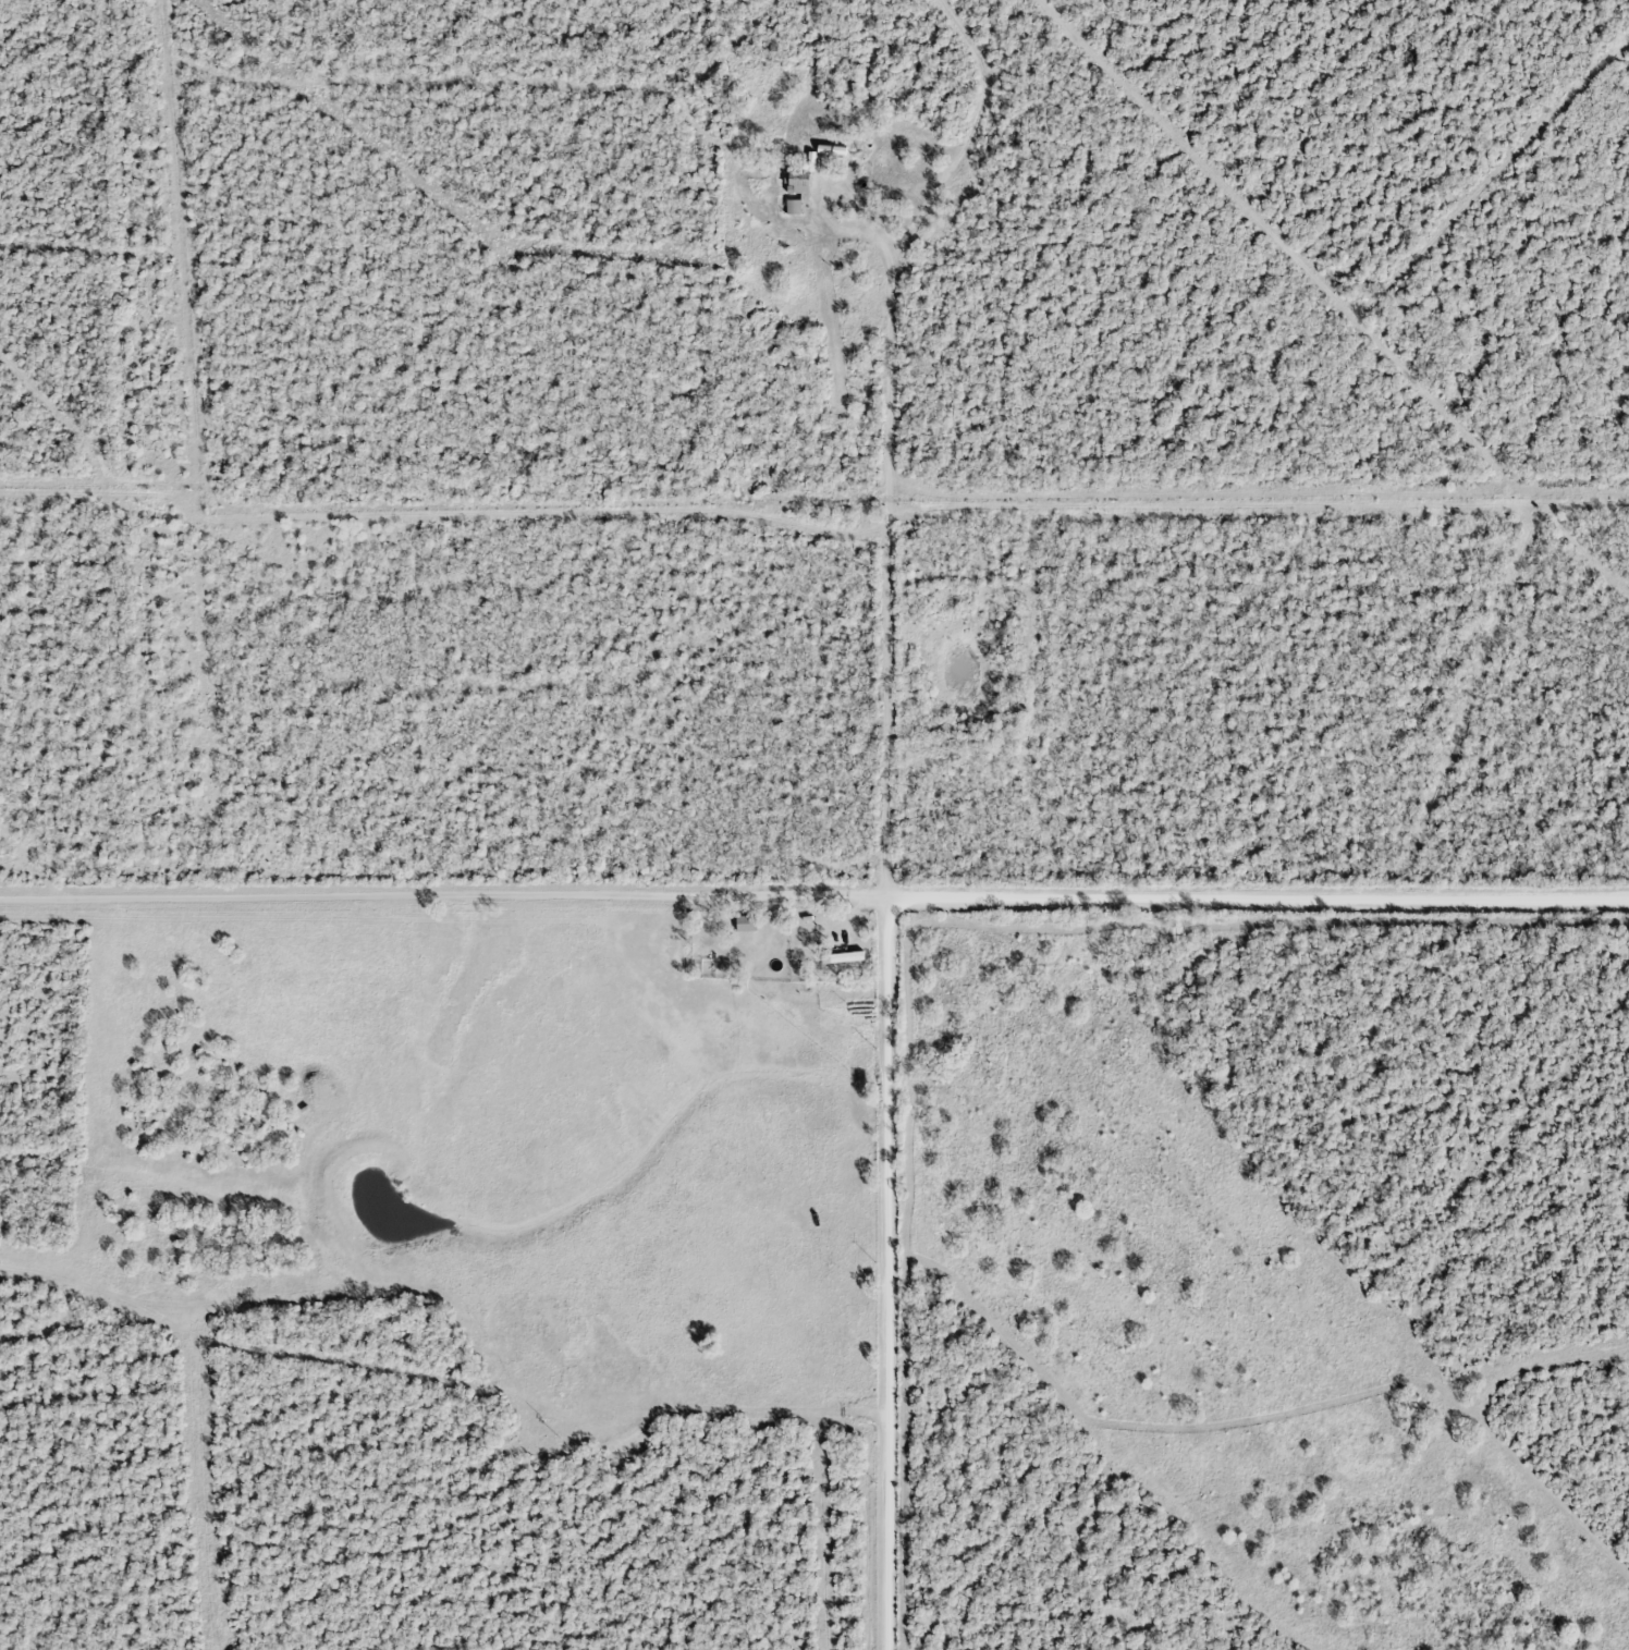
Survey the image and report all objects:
building: (828, 147)
building: (796, 186)
road: (884, 569)
road: (443, 893)
road: (1258, 896)
building: (744, 921)
building: (842, 955)
road: (886, 1273)

